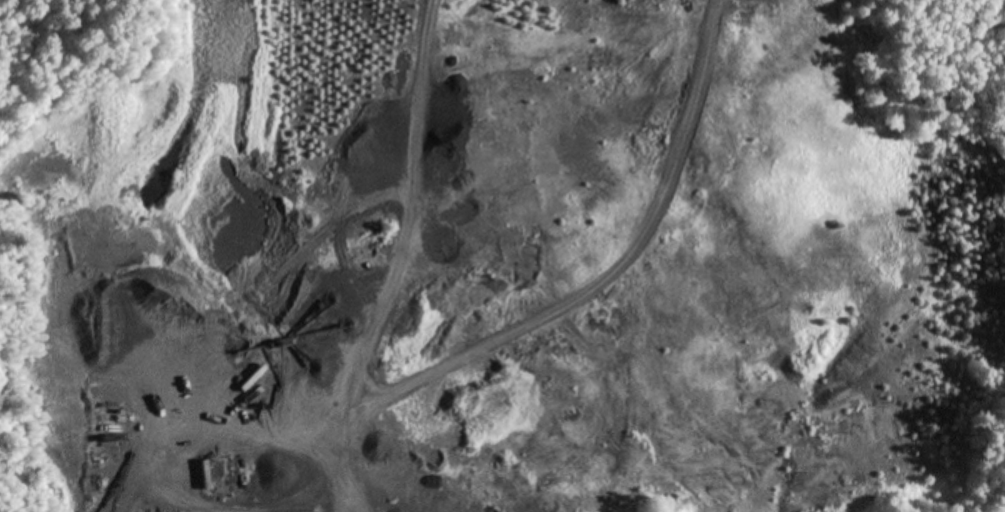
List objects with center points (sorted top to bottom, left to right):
quarry: (530, 256)
road: (409, 258)
quarry: (507, 263)
road: (497, 341)

